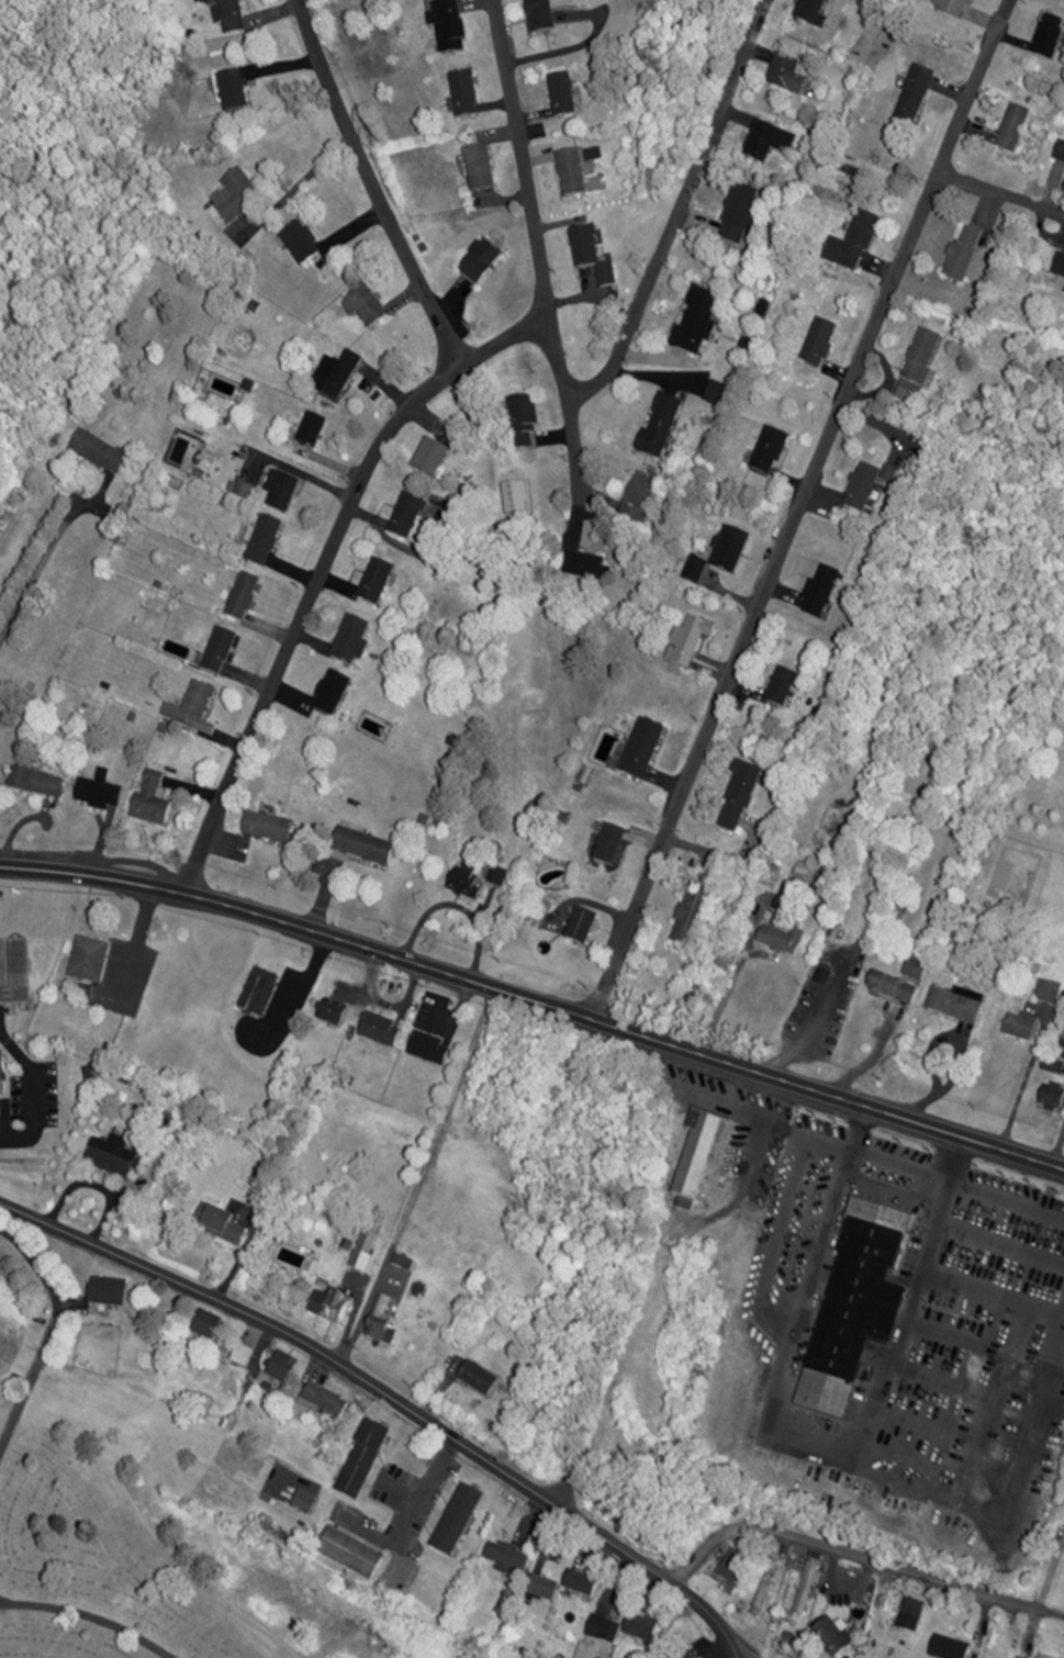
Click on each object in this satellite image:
building: (955, 8)
building: (813, 12)
building: (541, 15)
building: (232, 16)
building: (449, 25)
building: (1050, 38)
road: (576, 43)
building: (787, 76)
building: (234, 93)
building: (466, 93)
building: (562, 96)
building: (915, 99)
building: (1015, 130)
building: (770, 144)
building: (1060, 157)
building: (481, 168)
building: (572, 173)
road: (299, 183)
road: (376, 184)
road: (1003, 191)
building: (237, 198)
building: (742, 215)
road: (669, 242)
building: (855, 244)
building: (302, 245)
building: (964, 253)
building: (592, 256)
building: (482, 262)
building: (1060, 266)
building: (366, 307)
building: (698, 323)
building: (820, 344)
building: (919, 367)
building: (337, 376)
building: (718, 393)
building: (523, 424)
road: (396, 426)
building: (661, 426)
building: (313, 433)
road: (578, 442)
building: (771, 452)
building: (100, 455)
building: (432, 459)
building: (863, 489)
building: (282, 492)
building: (640, 501)
road: (800, 509)
building: (407, 517)
building: (265, 541)
building: (721, 557)
road: (41, 565)
building: (586, 568)
building: (376, 583)
building: (821, 595)
building: (244, 597)
building: (352, 642)
building: (690, 642)
building: (217, 653)
building: (782, 688)
building: (333, 694)
building: (192, 707)
building: (642, 750)
building: (36, 784)
building: (100, 794)
building: (740, 798)
building: (153, 800)
building: (269, 829)
building: (612, 847)
building: (365, 849)
road: (720, 858)
building: (466, 887)
building: (693, 919)
building: (582, 928)
building: (776, 940)
building: (88, 961)
building: (14, 972)
building: (121, 979)
building: (900, 984)
road: (302, 986)
building: (1050, 993)
building: (260, 994)
road: (535, 1000)
road: (721, 1001)
building: (957, 1006)
building: (332, 1013)
road: (882, 1018)
building: (1022, 1028)
building: (381, 1029)
building: (430, 1049)
building: (1054, 1068)
building: (0, 1074)
road: (1024, 1084)
road: (35, 1093)
building: (1053, 1099)
building: (112, 1156)
building: (704, 1156)
road: (887, 1164)
building: (220, 1224)
building: (365, 1251)
road: (40, 1264)
building: (108, 1290)
building: (332, 1306)
building: (858, 1306)
building: (382, 1323)
building: (206, 1325)
building: (243, 1356)
building: (282, 1368)
building: (479, 1378)
road: (31, 1382)
road: (392, 1397)
building: (326, 1401)
building: (362, 1459)
road: (413, 1517)
building: (456, 1519)
building: (350, 1553)
road: (861, 1555)
building: (506, 1558)
park: (103, 1562)
building: (735, 1565)
building: (582, 1584)
building: (808, 1588)
building: (542, 1589)
building: (766, 1591)
road: (1, 1602)
building: (916, 1611)
road: (91, 1616)
building: (641, 1628)
building: (604, 1629)
building: (836, 1635)
building: (950, 1648)
road: (744, 1657)

